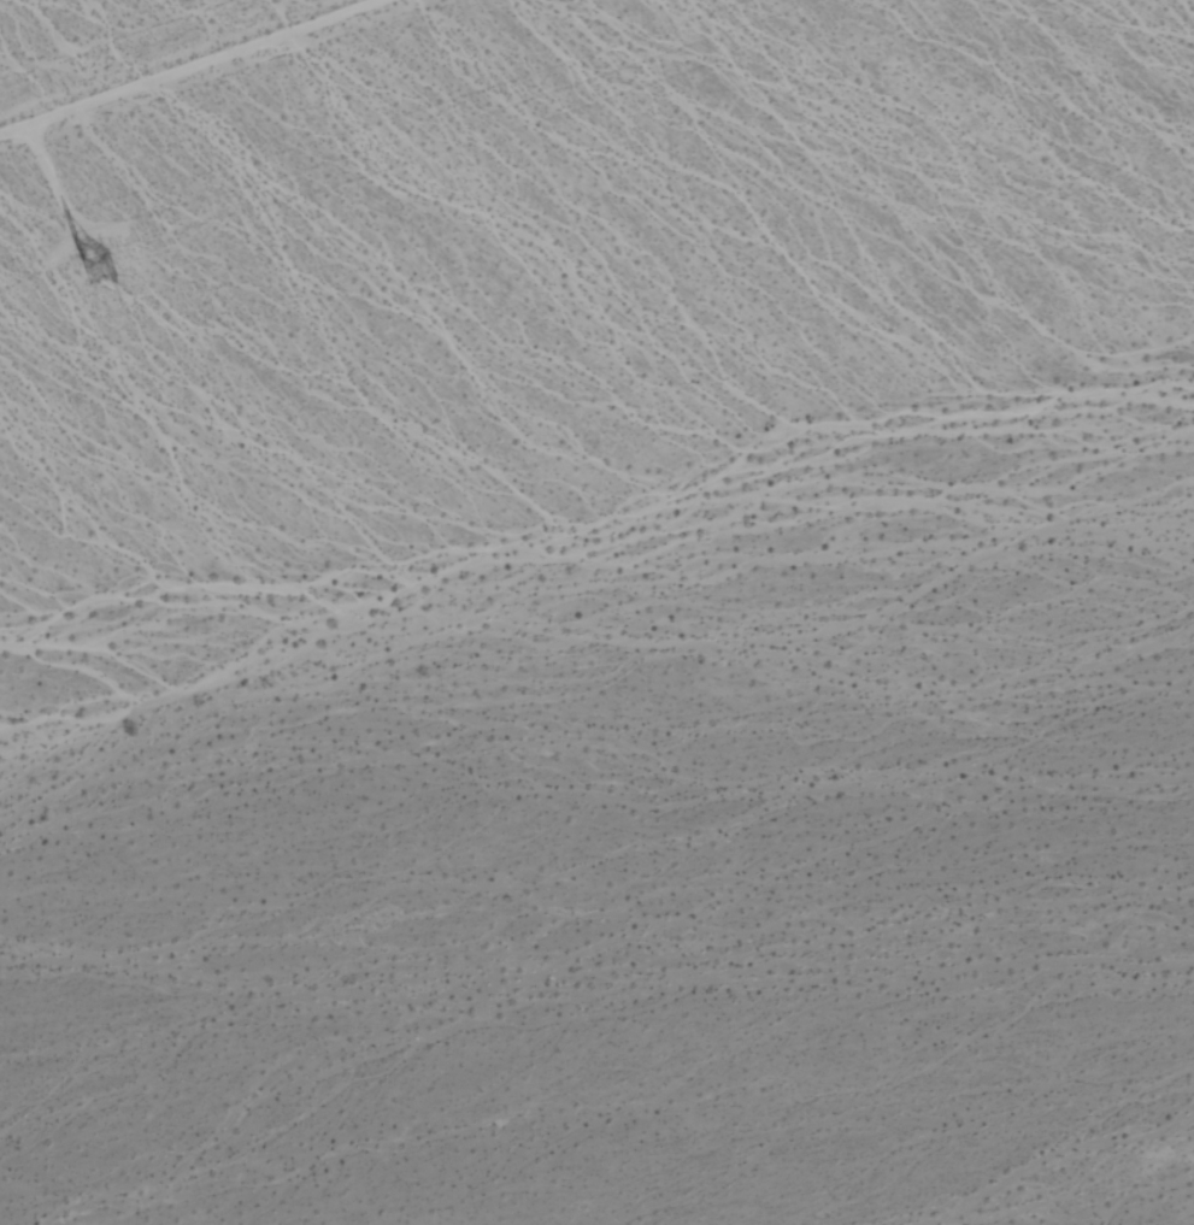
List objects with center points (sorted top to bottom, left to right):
road: (139, 47)
power tower: (113, 257)

